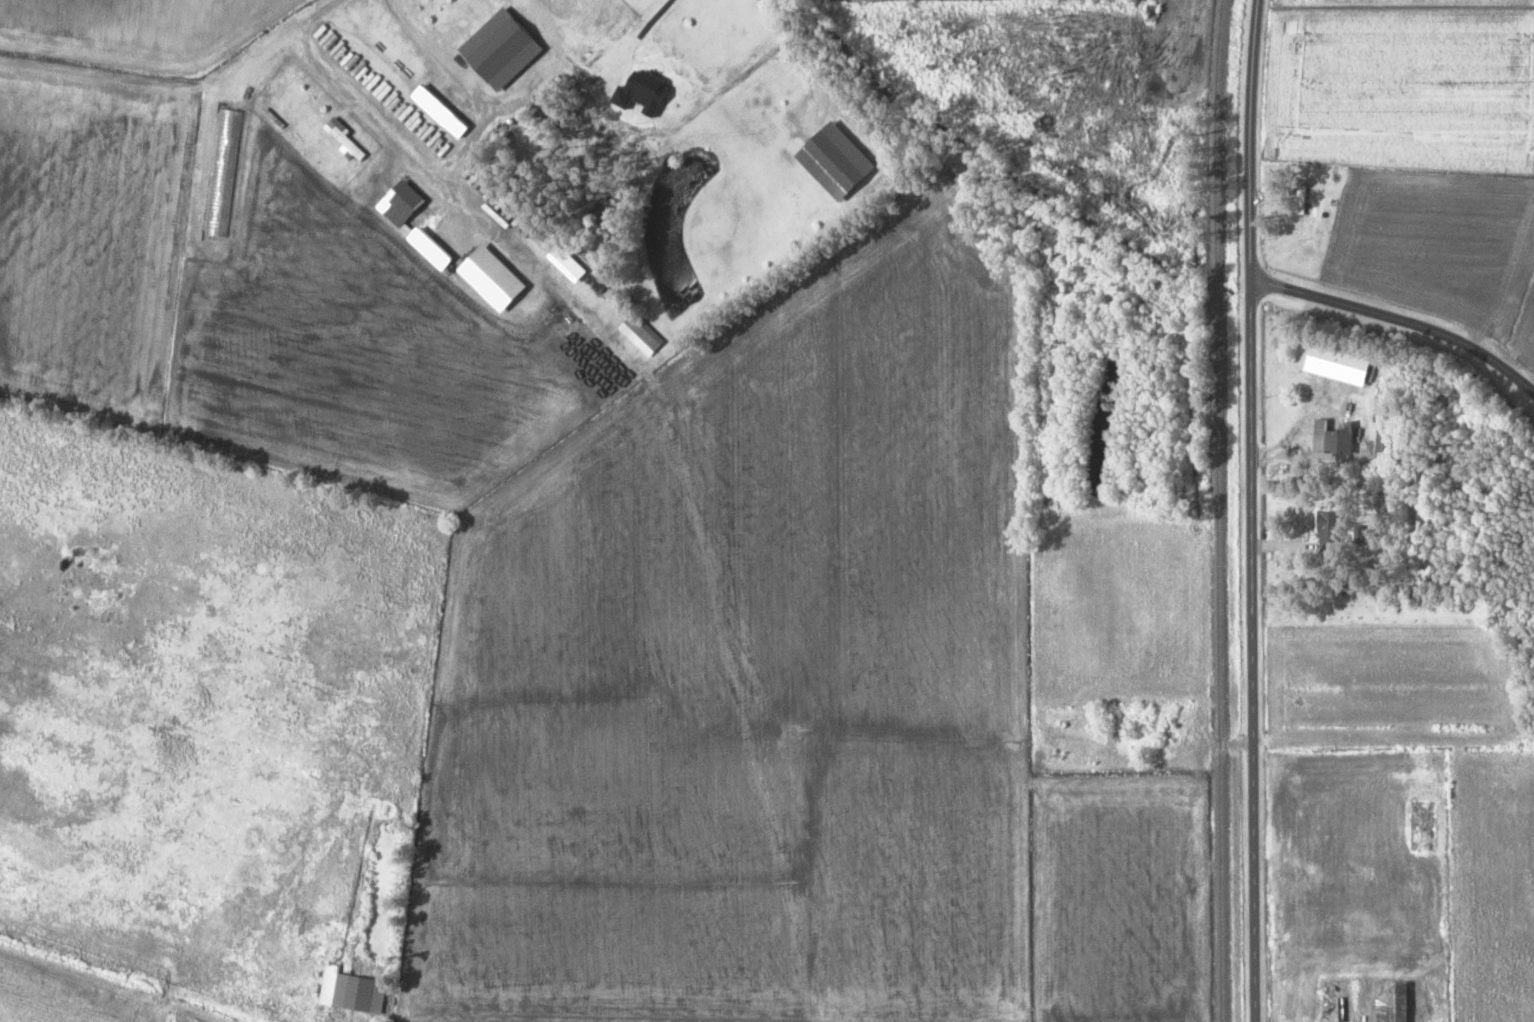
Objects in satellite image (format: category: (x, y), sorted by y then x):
building: (504, 49)
building: (443, 112)
building: (349, 144)
building: (839, 162)
building: (224, 165)
building: (404, 205)
road: (1399, 320)
building: (642, 335)
building: (1346, 370)
building: (1383, 432)
building: (1336, 437)
railway: (1219, 510)
road: (1251, 510)
building: (1331, 533)
building: (1399, 874)
building: (361, 993)
building: (1394, 1001)

